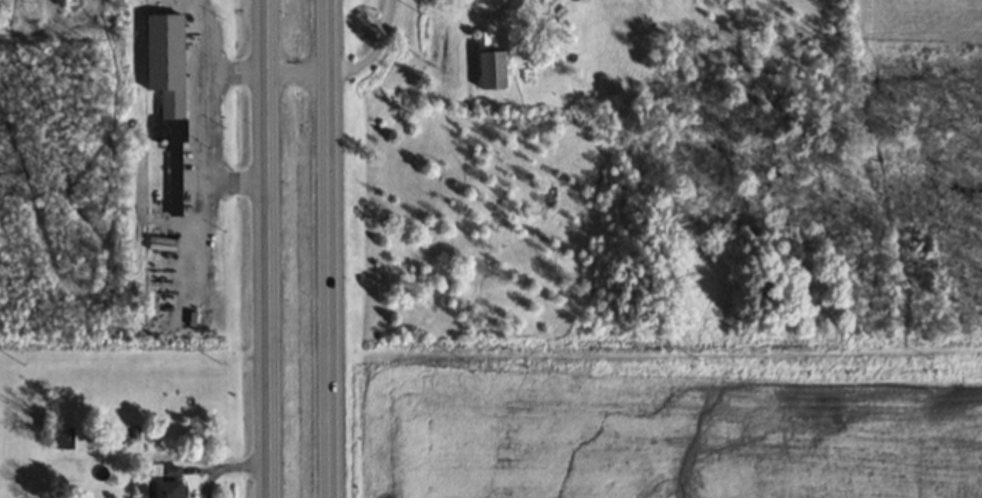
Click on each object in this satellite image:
building: (491, 70)
building: (165, 111)
road: (270, 248)
road: (326, 249)
building: (59, 435)
building: (165, 484)

